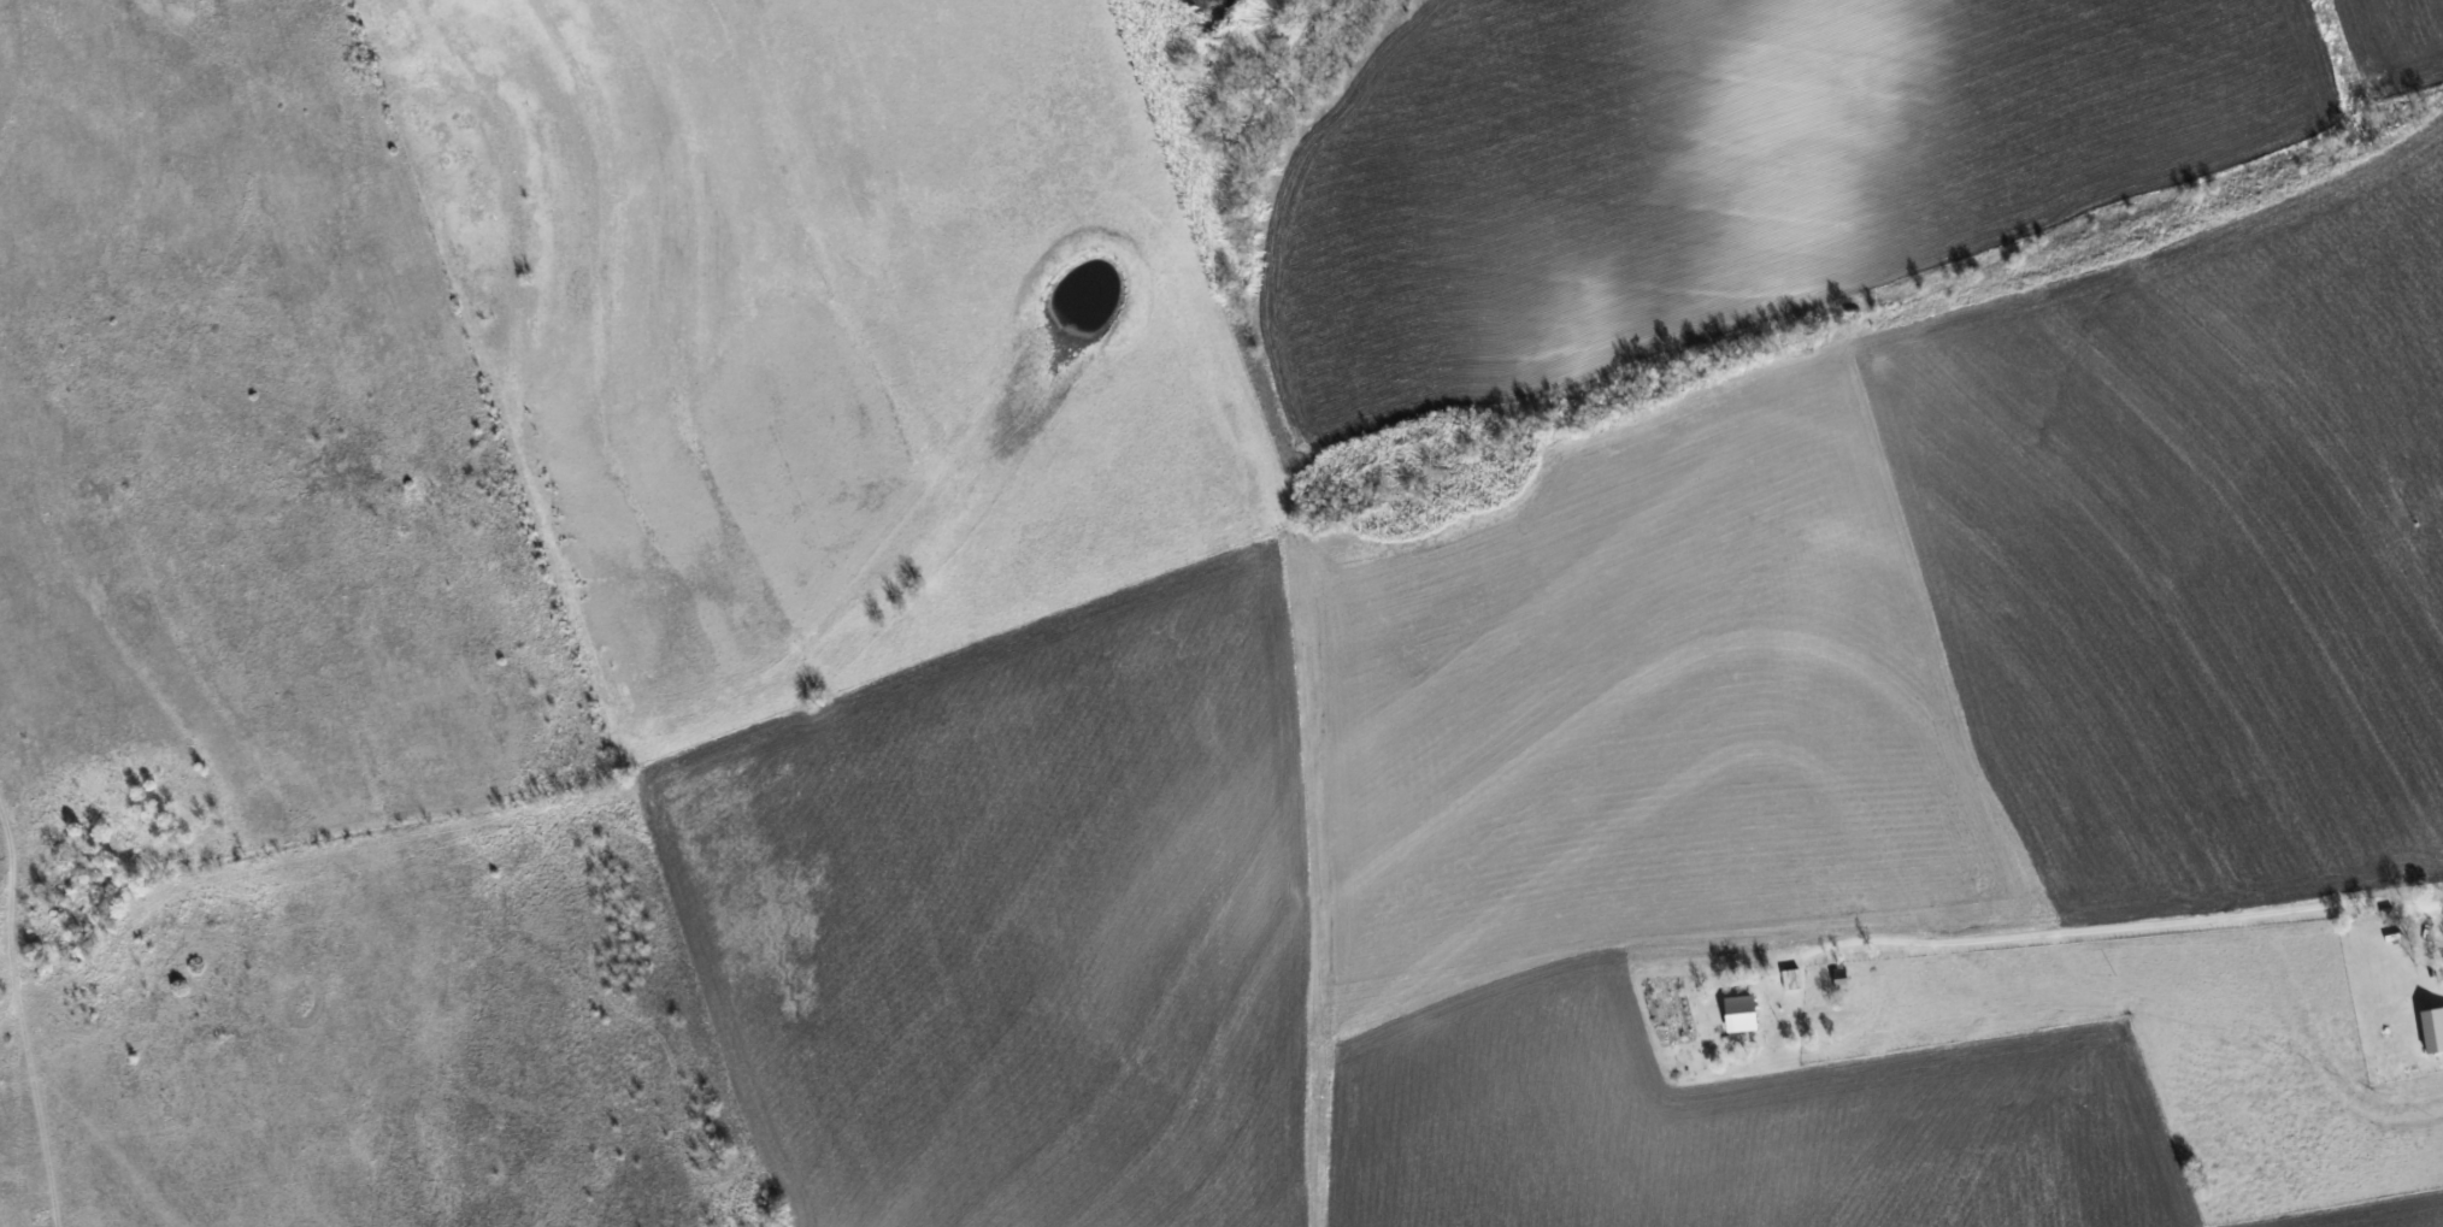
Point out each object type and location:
road: (2120, 932)
building: (1790, 979)
building: (1738, 1013)
building: (2432, 1030)

